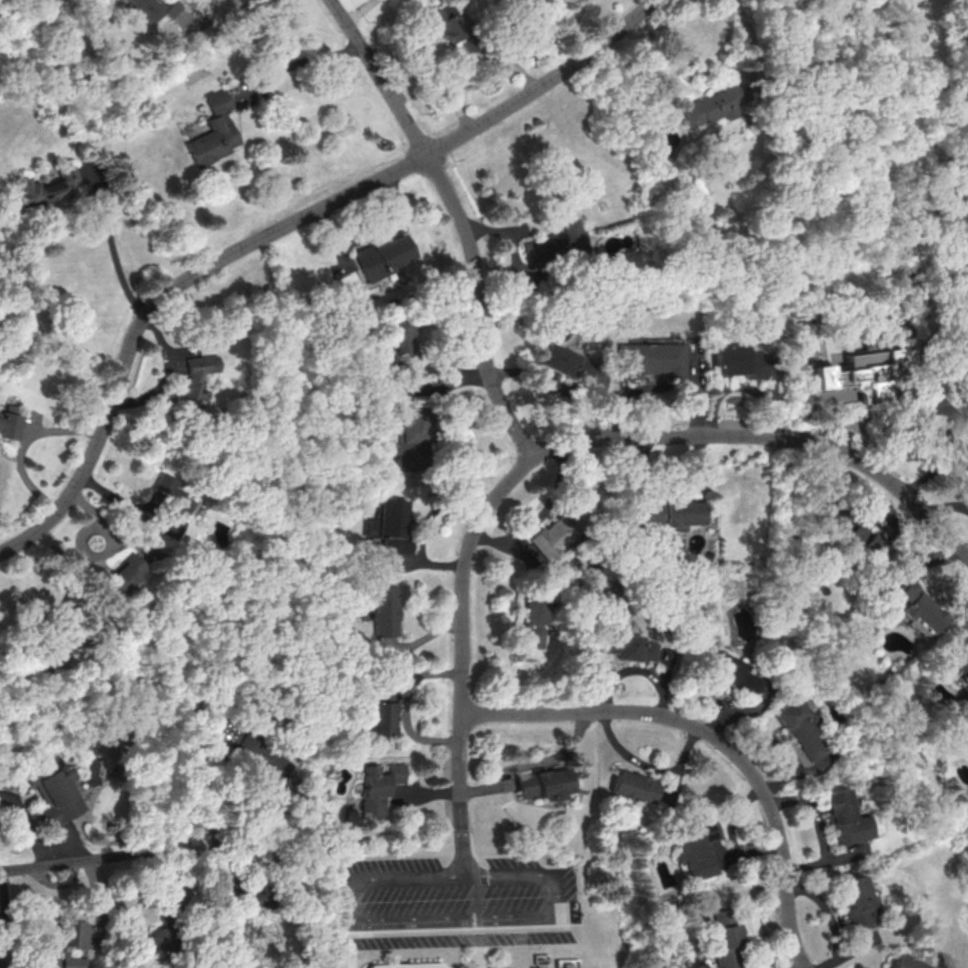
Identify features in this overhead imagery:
building: (153, 9)
road: (362, 12)
building: (447, 22)
road: (196, 24)
road: (306, 61)
road: (473, 61)
building: (716, 105)
building: (213, 131)
building: (47, 190)
road: (458, 219)
road: (274, 232)
building: (554, 244)
building: (382, 256)
road: (120, 260)
building: (400, 347)
building: (647, 359)
building: (738, 361)
building: (568, 367)
building: (866, 371)
building: (194, 382)
building: (941, 412)
building: (9, 422)
building: (409, 439)
road: (566, 440)
road: (25, 441)
building: (172, 504)
building: (669, 514)
building: (387, 524)
building: (862, 536)
building: (547, 537)
building: (126, 572)
building: (917, 608)
building: (378, 610)
building: (526, 619)
building: (623, 645)
building: (962, 665)
building: (732, 673)
building: (376, 718)
building: (801, 729)
road: (712, 738)
building: (540, 783)
building: (630, 787)
building: (379, 789)
building: (54, 790)
building: (842, 818)
road: (30, 826)
building: (693, 851)
road: (464, 854)
road: (99, 860)
parking lot: (454, 901)
building: (852, 901)
road: (429, 919)
building: (719, 941)
building: (151, 942)
building: (44, 944)
road: (512, 956)
road: (475, 957)
building: (901, 962)
building: (410, 965)

